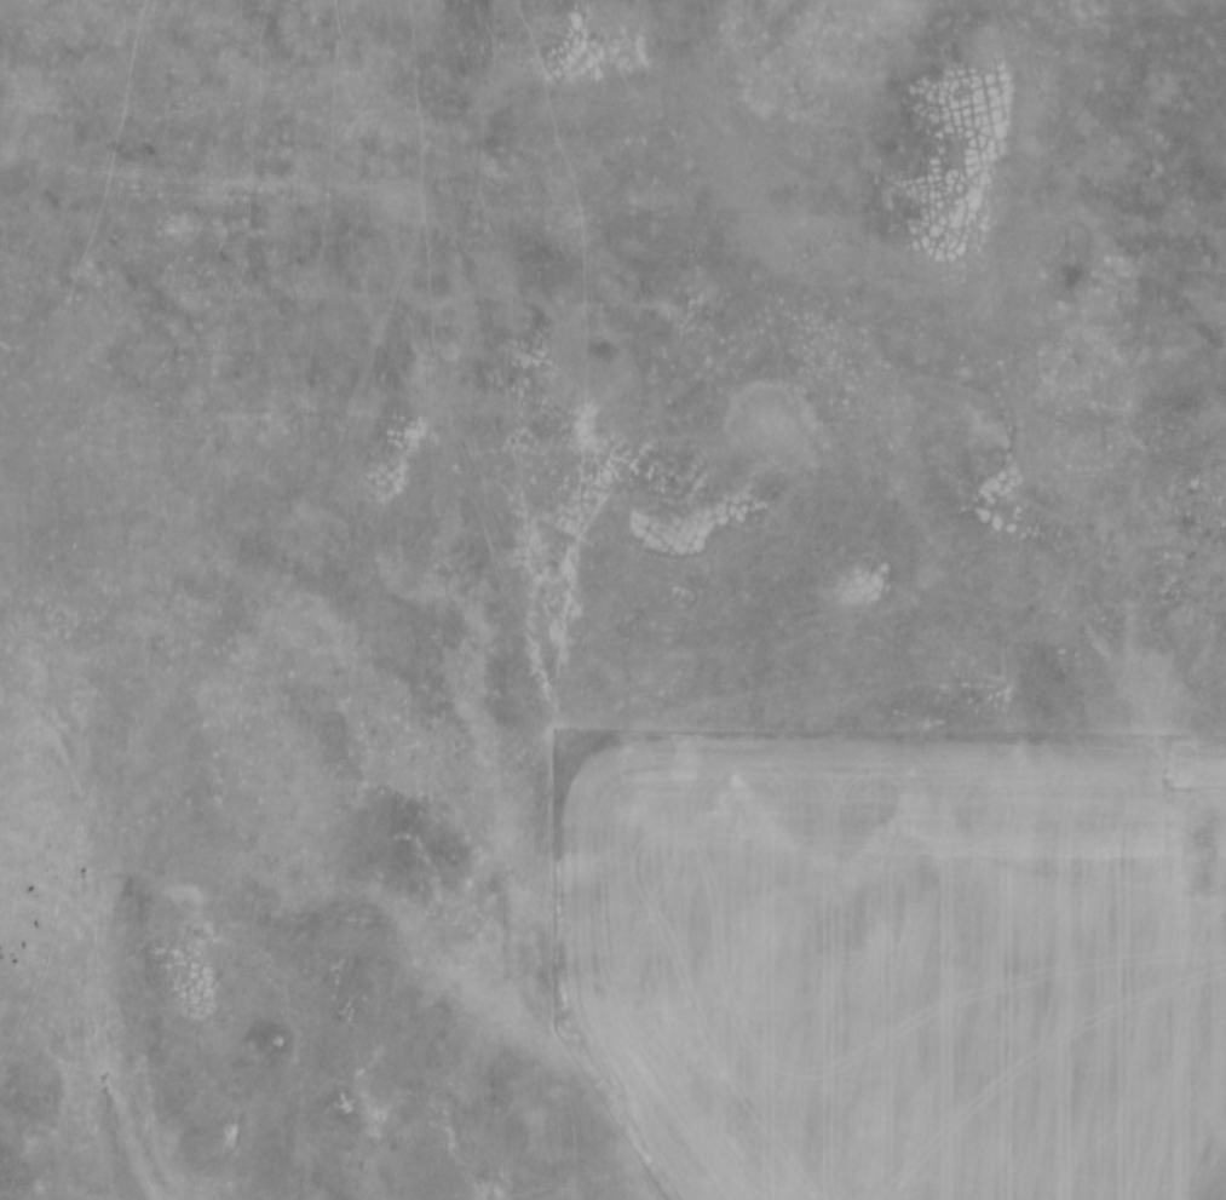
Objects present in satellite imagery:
road: (612, 197)

